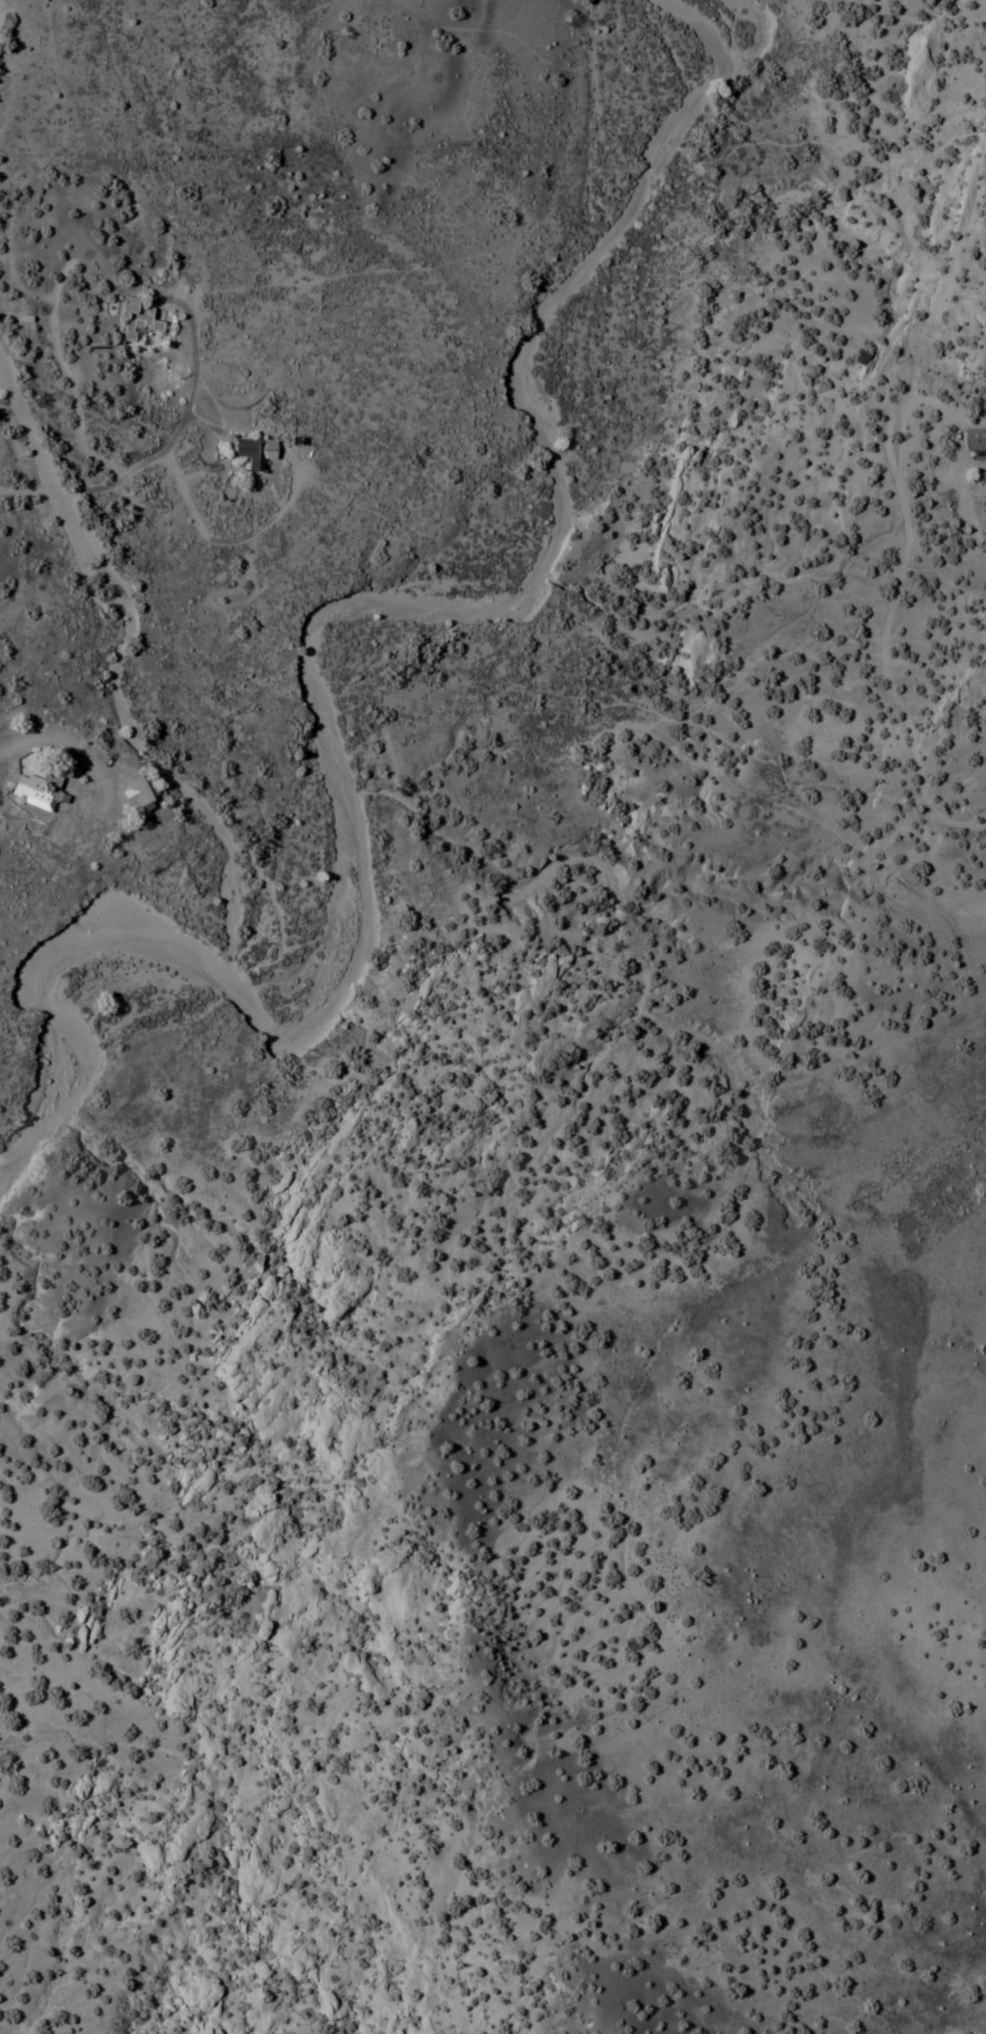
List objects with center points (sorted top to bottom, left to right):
building: (132, 318)
building: (856, 358)
building: (974, 443)
building: (248, 453)
building: (37, 789)
building: (134, 793)

